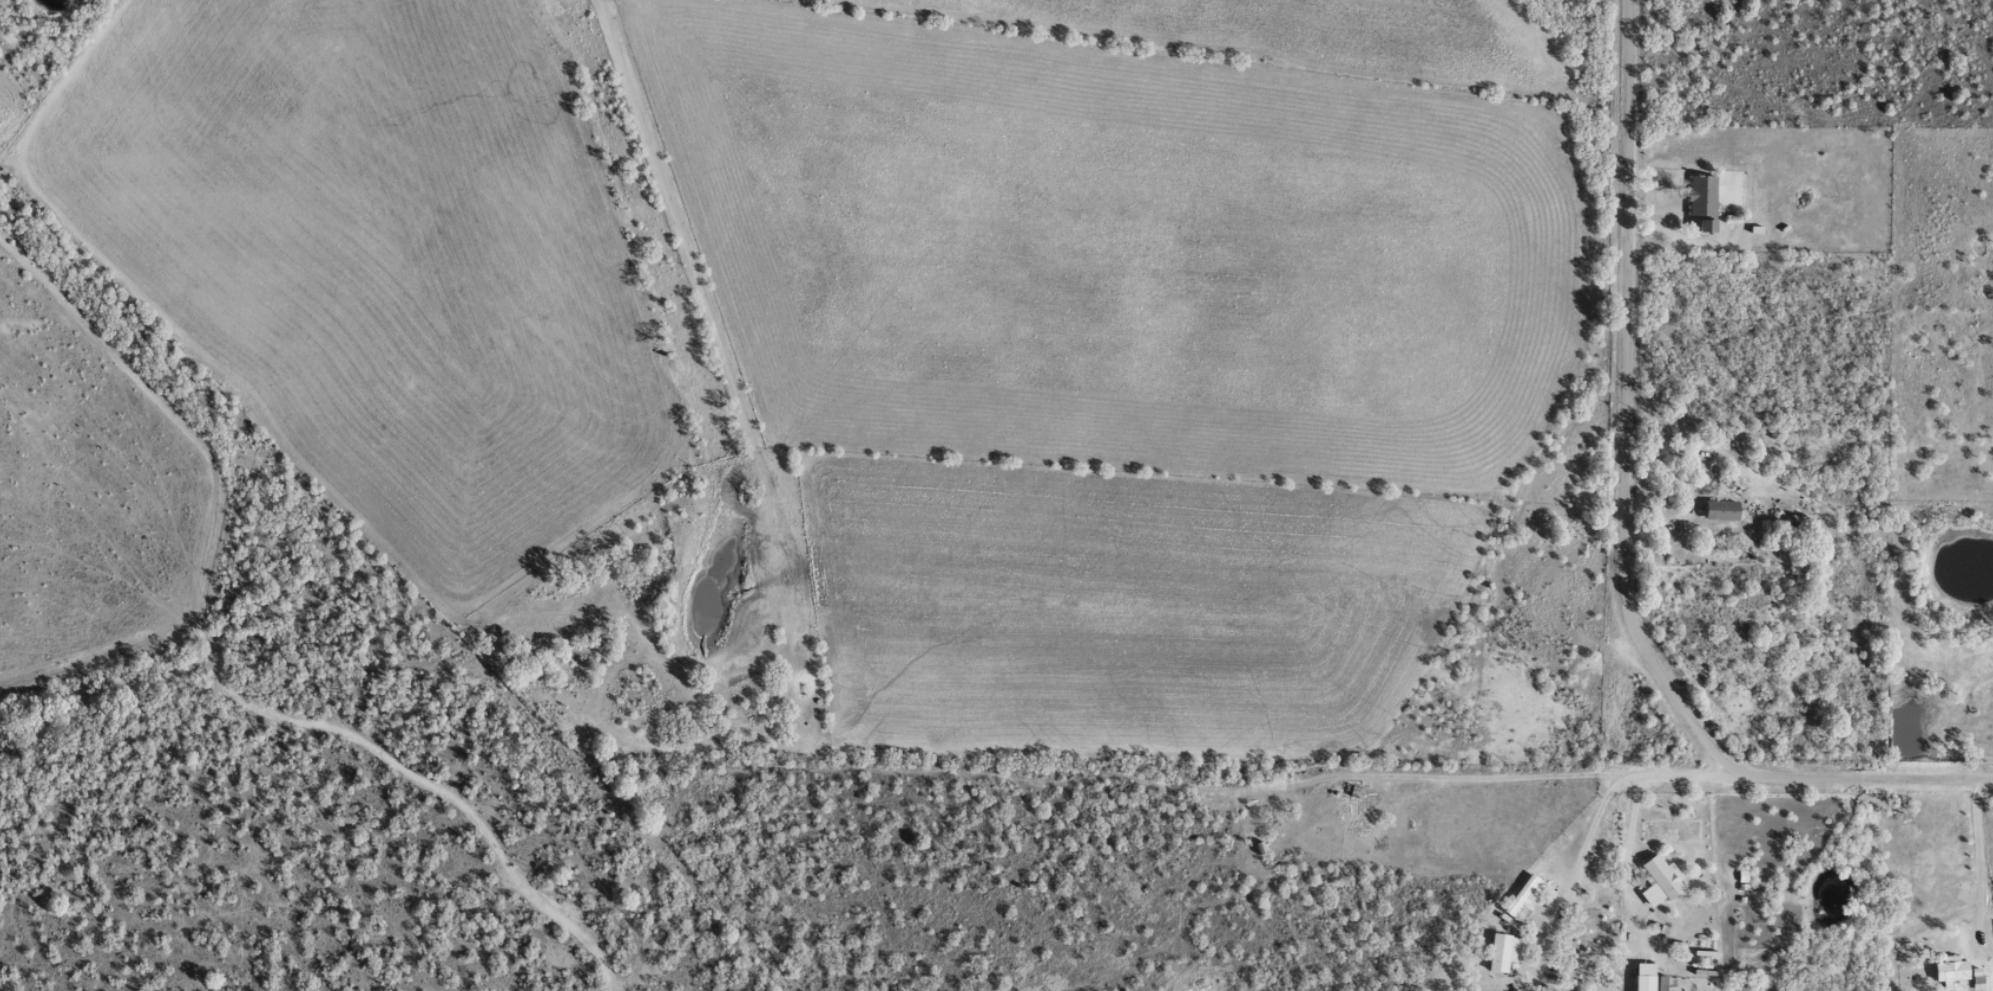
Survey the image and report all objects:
road: (16, 195)
building: (1700, 201)
building: (1717, 510)
road: (1578, 553)
road: (448, 783)
building: (1352, 792)
building: (1361, 820)
building: (1655, 882)
building: (1496, 953)
building: (1947, 970)
building: (1974, 976)

